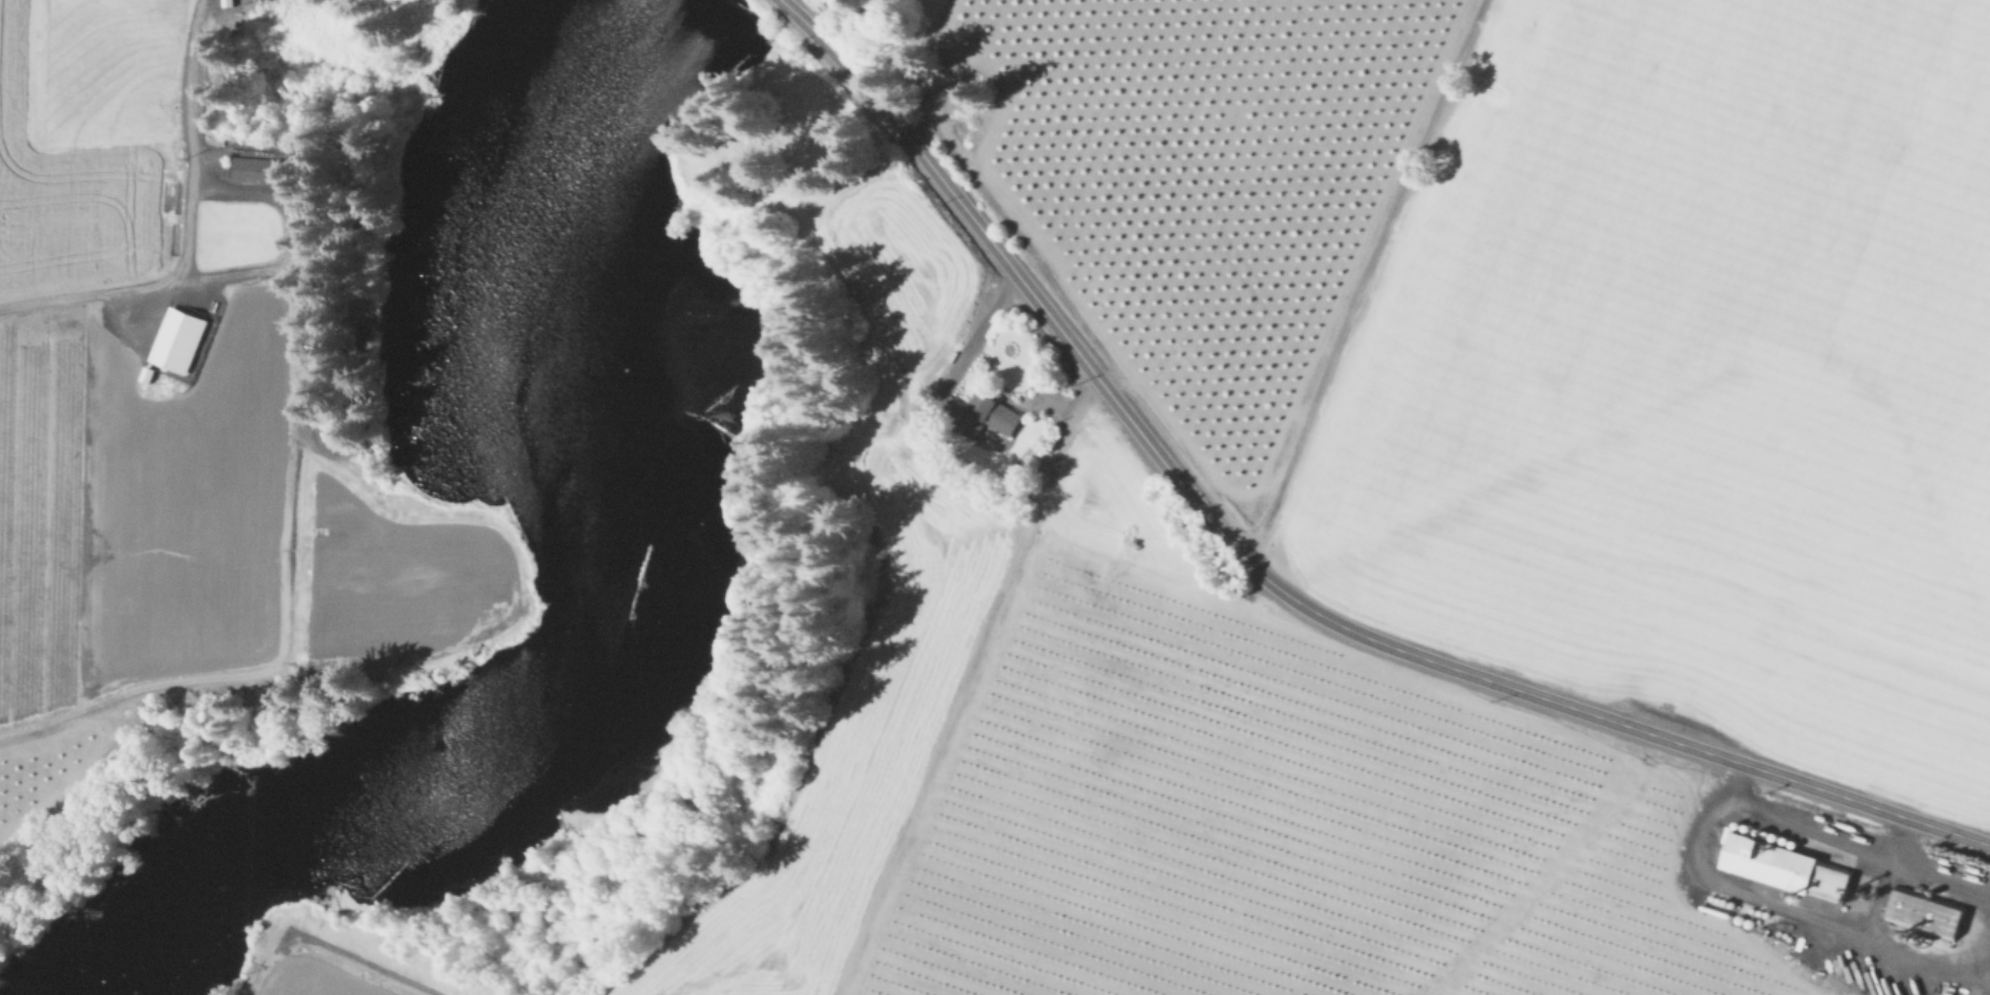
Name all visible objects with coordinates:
road: (200, 142)
building: (257, 170)
crop: (1574, 326)
road: (976, 338)
crop: (118, 359)
building: (996, 416)
road: (1272, 584)
crop: (1206, 826)
road: (1862, 841)
building: (1782, 867)
road: (1884, 876)
road: (1783, 905)
building: (1920, 910)

